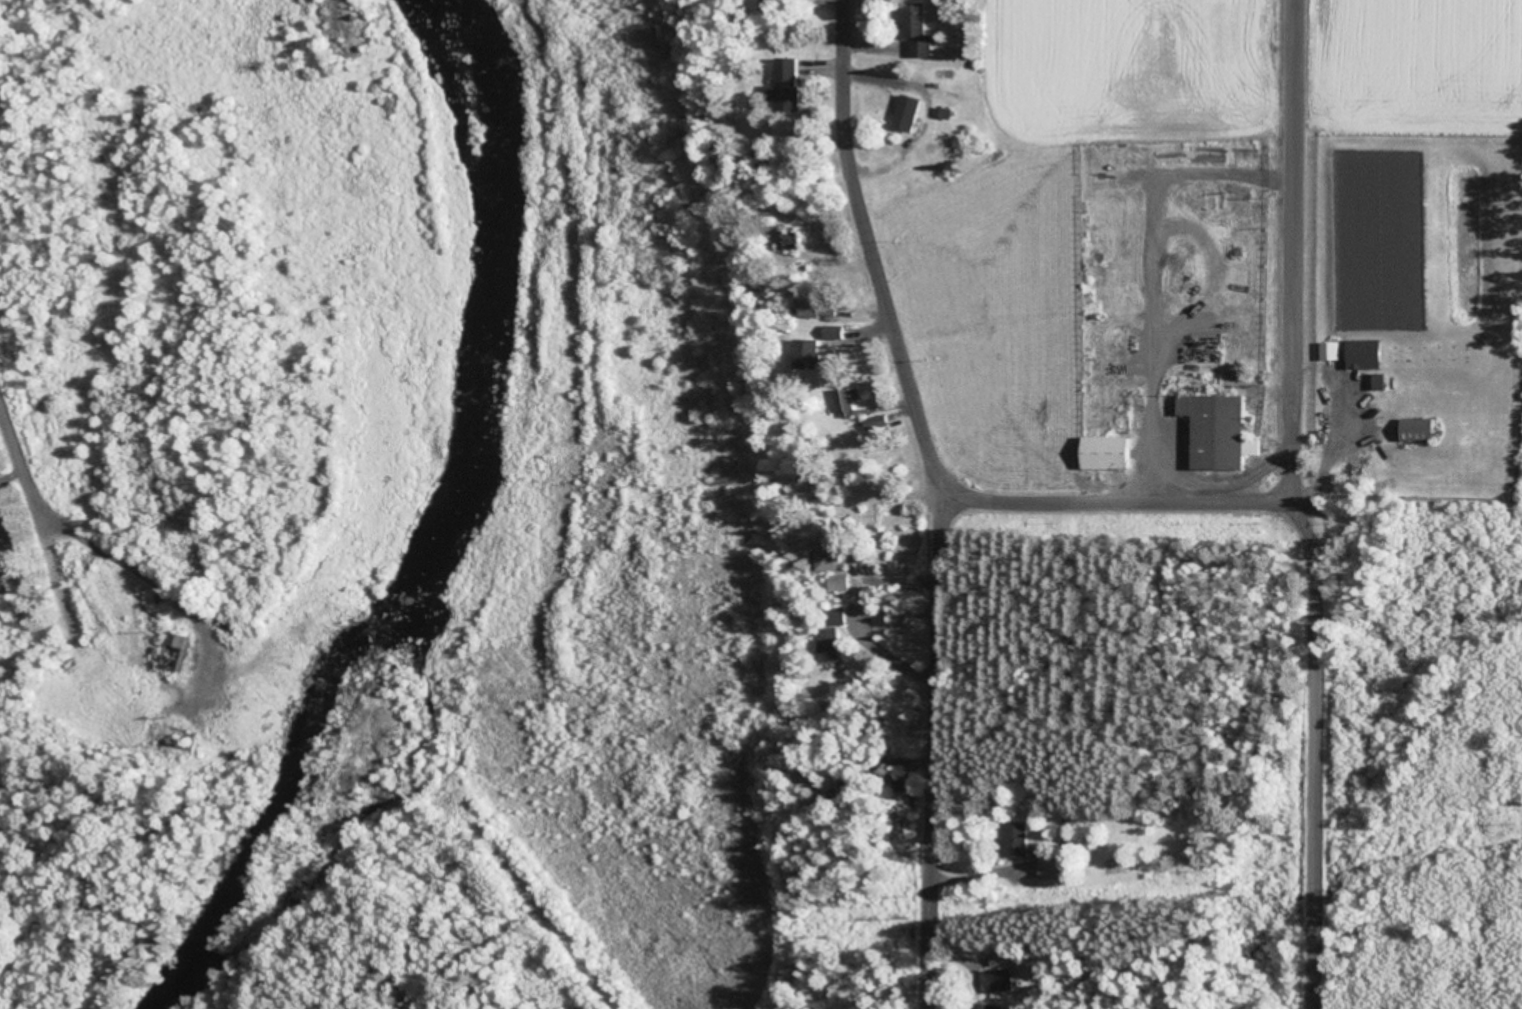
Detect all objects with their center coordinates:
building: (923, 27)
crop: (1138, 68)
crop: (1414, 68)
building: (792, 82)
building: (911, 110)
building: (791, 238)
road: (1298, 295)
park: (1413, 320)
building: (799, 349)
building: (1330, 349)
building: (1362, 352)
building: (1377, 378)
building: (848, 398)
road: (14, 426)
building: (1416, 426)
building: (1218, 430)
building: (1105, 451)
road: (946, 496)
road: (1121, 499)
river: (433, 528)
building: (837, 580)
building: (827, 642)
building: (180, 648)
road: (1317, 797)
building: (1015, 837)

